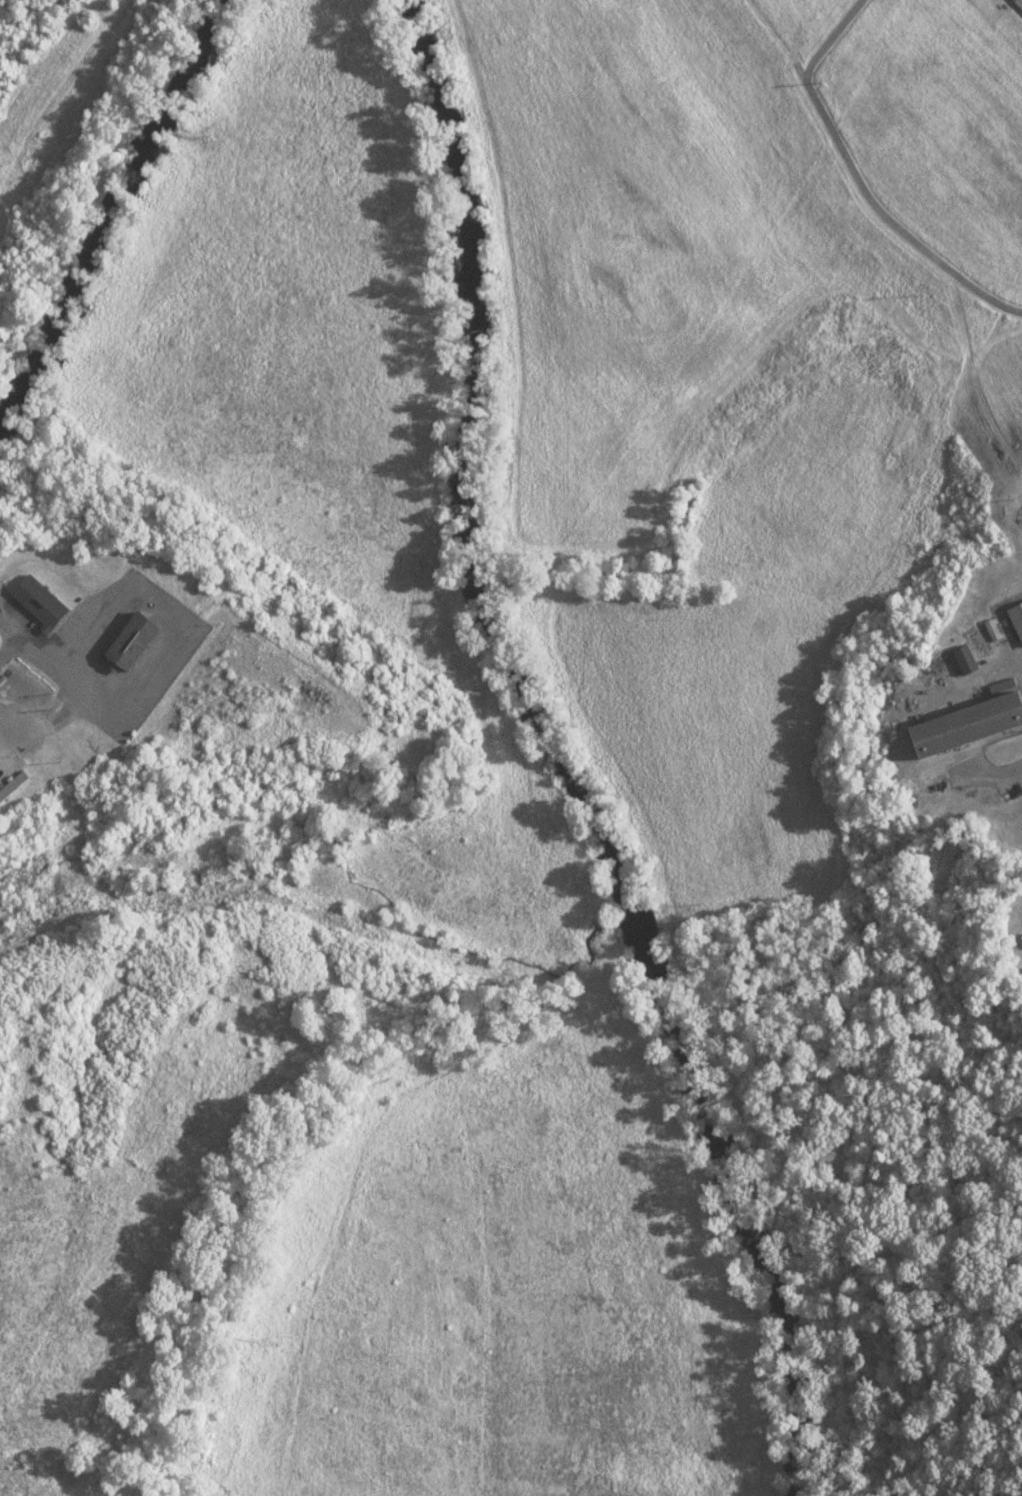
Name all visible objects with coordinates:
river: (544, 472)
building: (40, 603)
building: (1017, 619)
building: (992, 630)
building: (972, 640)
building: (134, 642)
building: (967, 724)
building: (13, 785)
building: (2, 1490)

